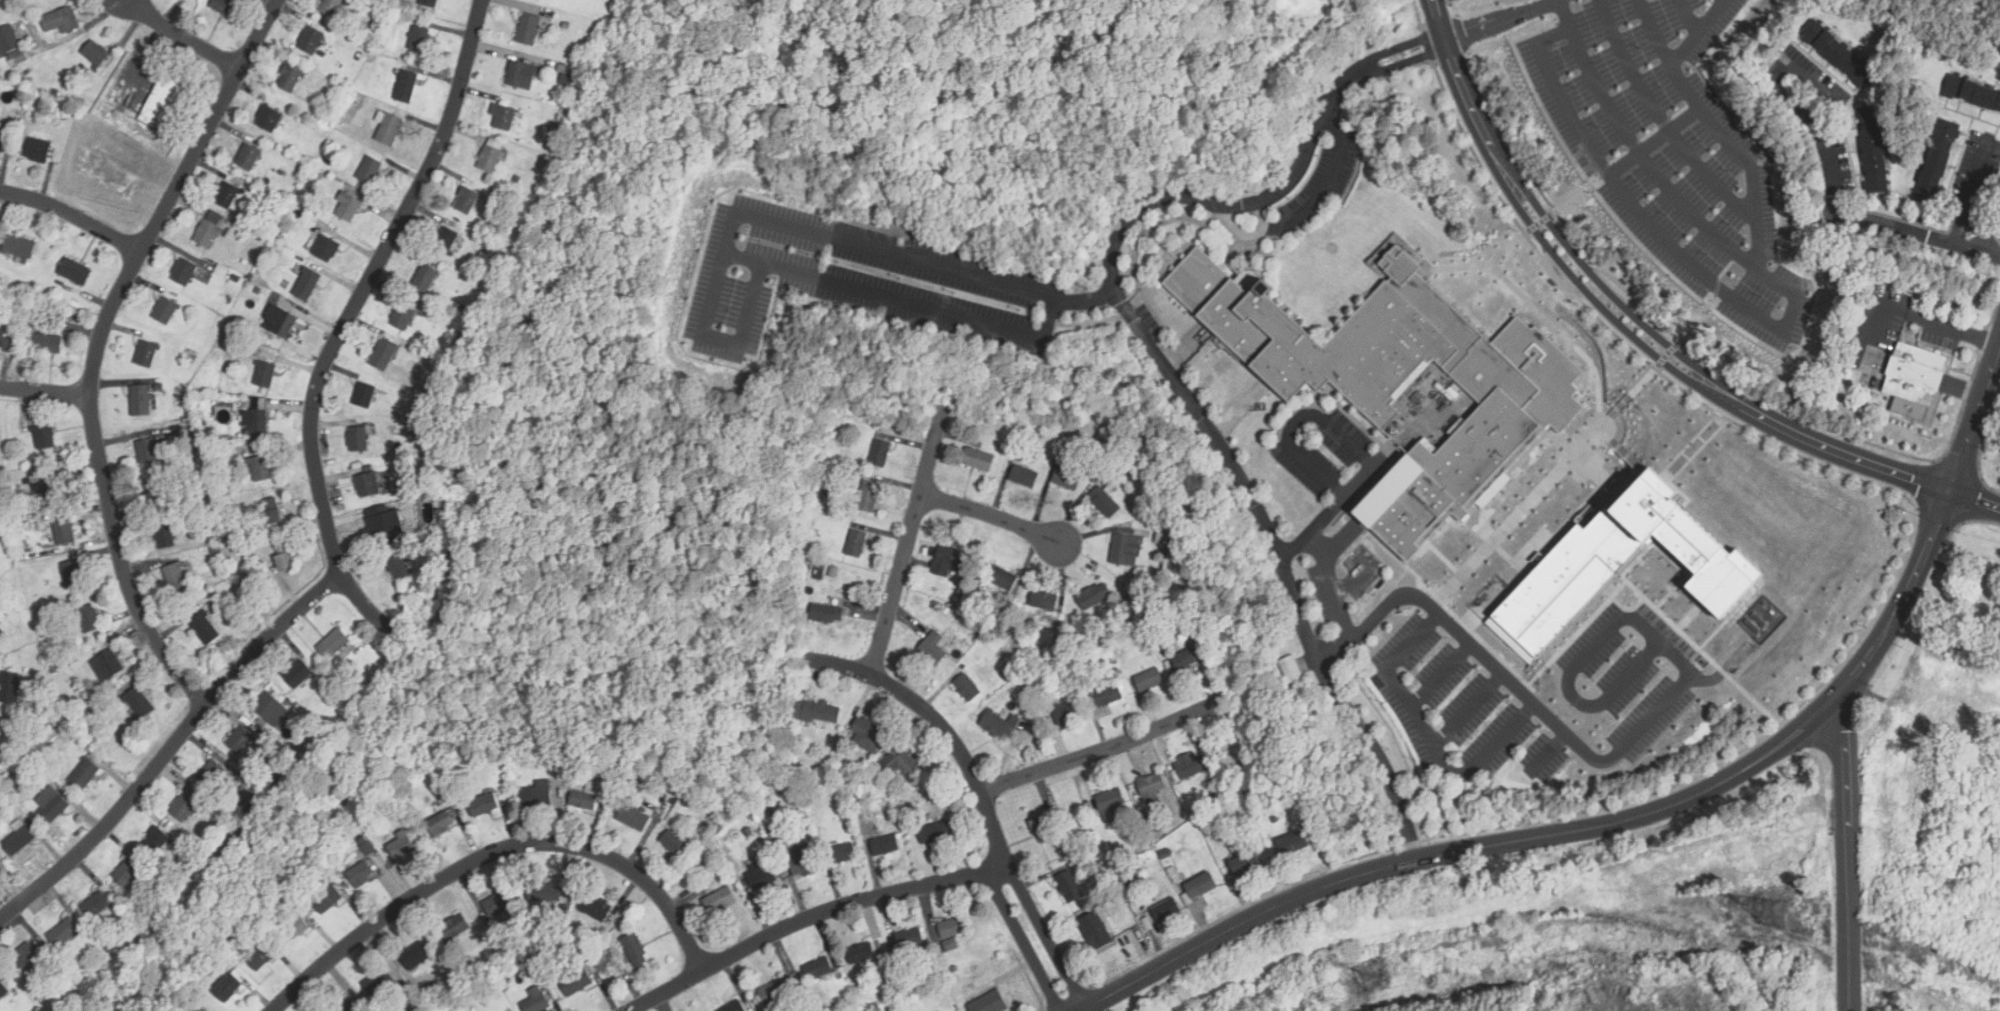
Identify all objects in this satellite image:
road: (1722, 0)
building: (429, 2)
building: (226, 7)
building: (332, 7)
building: (409, 7)
road: (1688, 17)
building: (61, 20)
road: (1500, 21)
building: (528, 30)
road: (1654, 34)
road: (182, 38)
building: (8, 40)
building: (419, 40)
building: (312, 41)
road: (1437, 43)
building: (1915, 43)
road: (1397, 48)
building: (96, 55)
building: (1839, 55)
building: (21, 57)
road: (1402, 62)
building: (5, 66)
building: (567, 70)
building: (522, 76)
building: (290, 79)
building: (566, 80)
building: (406, 88)
building: (1972, 94)
building: (163, 102)
building: (380, 117)
building: (503, 118)
road: (1662, 119)
building: (269, 120)
building: (390, 130)
river: (951, 133)
road: (1656, 139)
building: (520, 141)
building: (2, 142)
road: (1815, 148)
building: (39, 151)
building: (1874, 152)
parking lot: (1671, 153)
building: (248, 158)
building: (490, 160)
road: (1646, 163)
building: (1937, 163)
building: (370, 171)
building: (282, 173)
building: (320, 176)
building: (517, 179)
road: (1326, 183)
road: (1595, 183)
building: (349, 188)
building: (228, 196)
road: (1966, 197)
building: (468, 199)
road: (1600, 200)
building: (348, 208)
road: (73, 215)
road: (1260, 215)
building: (293, 227)
road: (1895, 229)
road: (1237, 230)
road: (1147, 233)
building: (207, 235)
road: (846, 239)
building: (446, 242)
building: (487, 244)
building: (19, 248)
road: (1164, 249)
road: (1979, 249)
building: (327, 250)
road: (745, 256)
building: (246, 263)
building: (222, 271)
building: (76, 272)
building: (185, 273)
building: (236, 279)
building: (426, 279)
parking lot: (856, 280)
building: (307, 285)
road: (1146, 285)
road: (1120, 302)
building: (166, 311)
road: (1539, 312)
road: (349, 314)
road: (1761, 315)
road: (1622, 317)
building: (404, 318)
building: (14, 321)
building: (282, 321)
building: (233, 332)
building: (48, 341)
building: (5, 342)
road: (97, 344)
building: (146, 355)
building: (385, 356)
building: (411, 356)
building: (265, 375)
building: (1915, 376)
building: (1403, 383)
road: (1328, 387)
building: (160, 388)
road: (44, 392)
road: (1323, 392)
building: (365, 396)
building: (141, 401)
road: (1328, 408)
road: (1975, 416)
building: (988, 420)
building: (258, 423)
road: (1352, 431)
road: (1322, 434)
road: (1332, 436)
road: (1592, 436)
building: (45, 437)
building: (361, 437)
road: (1350, 442)
building: (184, 445)
road: (1335, 446)
road: (1621, 447)
parking lot: (1327, 449)
building: (147, 452)
building: (881, 454)
building: (979, 460)
building: (7, 463)
building: (261, 468)
building: (24, 472)
building: (410, 472)
building: (1025, 477)
building: (27, 480)
building: (1067, 480)
building: (368, 486)
building: (53, 489)
traffic signals: (1949, 492)
building: (155, 494)
building: (869, 498)
road: (1974, 500)
building: (1105, 502)
building: (273, 513)
road: (991, 515)
building: (378, 528)
building: (64, 531)
building: (227, 536)
building: (165, 537)
building: (1164, 538)
road: (908, 540)
building: (857, 545)
building: (26, 547)
building: (1127, 550)
building: (217, 551)
building: (1173, 551)
building: (285, 557)
building: (950, 561)
building: (1617, 562)
building: (813, 566)
building: (821, 566)
building: (399, 569)
road: (1682, 570)
building: (73, 574)
building: (1003, 579)
building: (178, 580)
road: (1289, 581)
building: (962, 594)
building: (1094, 597)
building: (1132, 600)
building: (1044, 601)
road: (1339, 601)
building: (1985, 601)
building: (851, 605)
building: (936, 606)
building: (1172, 608)
road: (1627, 608)
building: (827, 614)
building: (89, 620)
building: (205, 629)
building: (1, 632)
road: (1573, 635)
road: (1600, 638)
building: (1059, 639)
building: (334, 645)
road: (1853, 648)
building: (934, 649)
building: (1077, 653)
building: (1185, 661)
building: (109, 667)
building: (52, 668)
building: (1292, 670)
road: (1725, 670)
parking lot: (1630, 673)
building: (297, 674)
building: (1066, 675)
road: (1440, 675)
building: (1149, 681)
building: (9, 689)
building: (968, 689)
building: (1106, 696)
road: (1527, 697)
building: (1087, 701)
building: (139, 704)
building: (1035, 708)
building: (272, 710)
road: (1467, 710)
building: (815, 711)
building: (1066, 712)
building: (1000, 725)
building: (0, 729)
building: (0, 730)
building: (869, 735)
road: (1426, 738)
building: (240, 740)
building: (306, 740)
road: (171, 747)
building: (298, 750)
road: (1103, 750)
road: (1549, 751)
building: (1234, 758)
building: (285, 759)
building: (902, 765)
building: (1187, 769)
building: (86, 773)
building: (212, 774)
building: (240, 775)
building: (1259, 781)
building: (618, 784)
building: (1151, 788)
road: (980, 793)
building: (538, 794)
building: (1209, 797)
building: (586, 798)
building: (809, 800)
building: (1110, 800)
building: (247, 802)
building: (483, 806)
building: (54, 808)
building: (184, 808)
building: (230, 808)
building: (904, 809)
building: (891, 815)
building: (633, 819)
building: (1275, 820)
building: (229, 824)
park: (296, 824)
building: (440, 825)
building: (1042, 829)
building: (1143, 832)
building: (1156, 832)
building: (750, 833)
building: (936, 833)
road: (1579, 834)
building: (19, 838)
building: (157, 841)
building: (364, 842)
building: (1068, 844)
building: (1293, 844)
building: (675, 845)
building: (886, 845)
building: (1142, 845)
building: (402, 847)
road: (492, 853)
building: (843, 854)
road: (1847, 860)
building: (804, 864)
building: (1245, 864)
building: (1171, 870)
building: (362, 874)
building: (128, 875)
building: (762, 875)
building: (1112, 880)
building: (1132, 885)
building: (1201, 886)
building: (1069, 888)
building: (545, 894)
building: (328, 900)
building: (721, 901)
building: (498, 905)
building: (96, 906)
building: (596, 908)
building: (1164, 910)
building: (564, 913)
road: (808, 919)
building: (1147, 924)
building: (953, 928)
building: (294, 929)
building: (454, 929)
building: (1095, 931)
building: (65, 934)
building: (910, 939)
building: (950, 945)
building: (601, 946)
building: (634, 950)
building: (49, 952)
building: (862, 954)
building: (261, 957)
building: (416, 957)
building: (30, 959)
building: (885, 963)
building: (899, 964)
building: (819, 969)
building: (947, 971)
building: (535, 974)
building: (380, 983)
building: (577, 984)
building: (487, 987)
building: (228, 988)
building: (3, 991)
building: (777, 991)
quarry: (1681, 1000)
building: (536, 1001)
building: (851, 1002)
building: (991, 1003)
building: (734, 1006)
building: (348, 1007)
building: (812, 1008)
building: (878, 1009)
building: (201, 1010)

